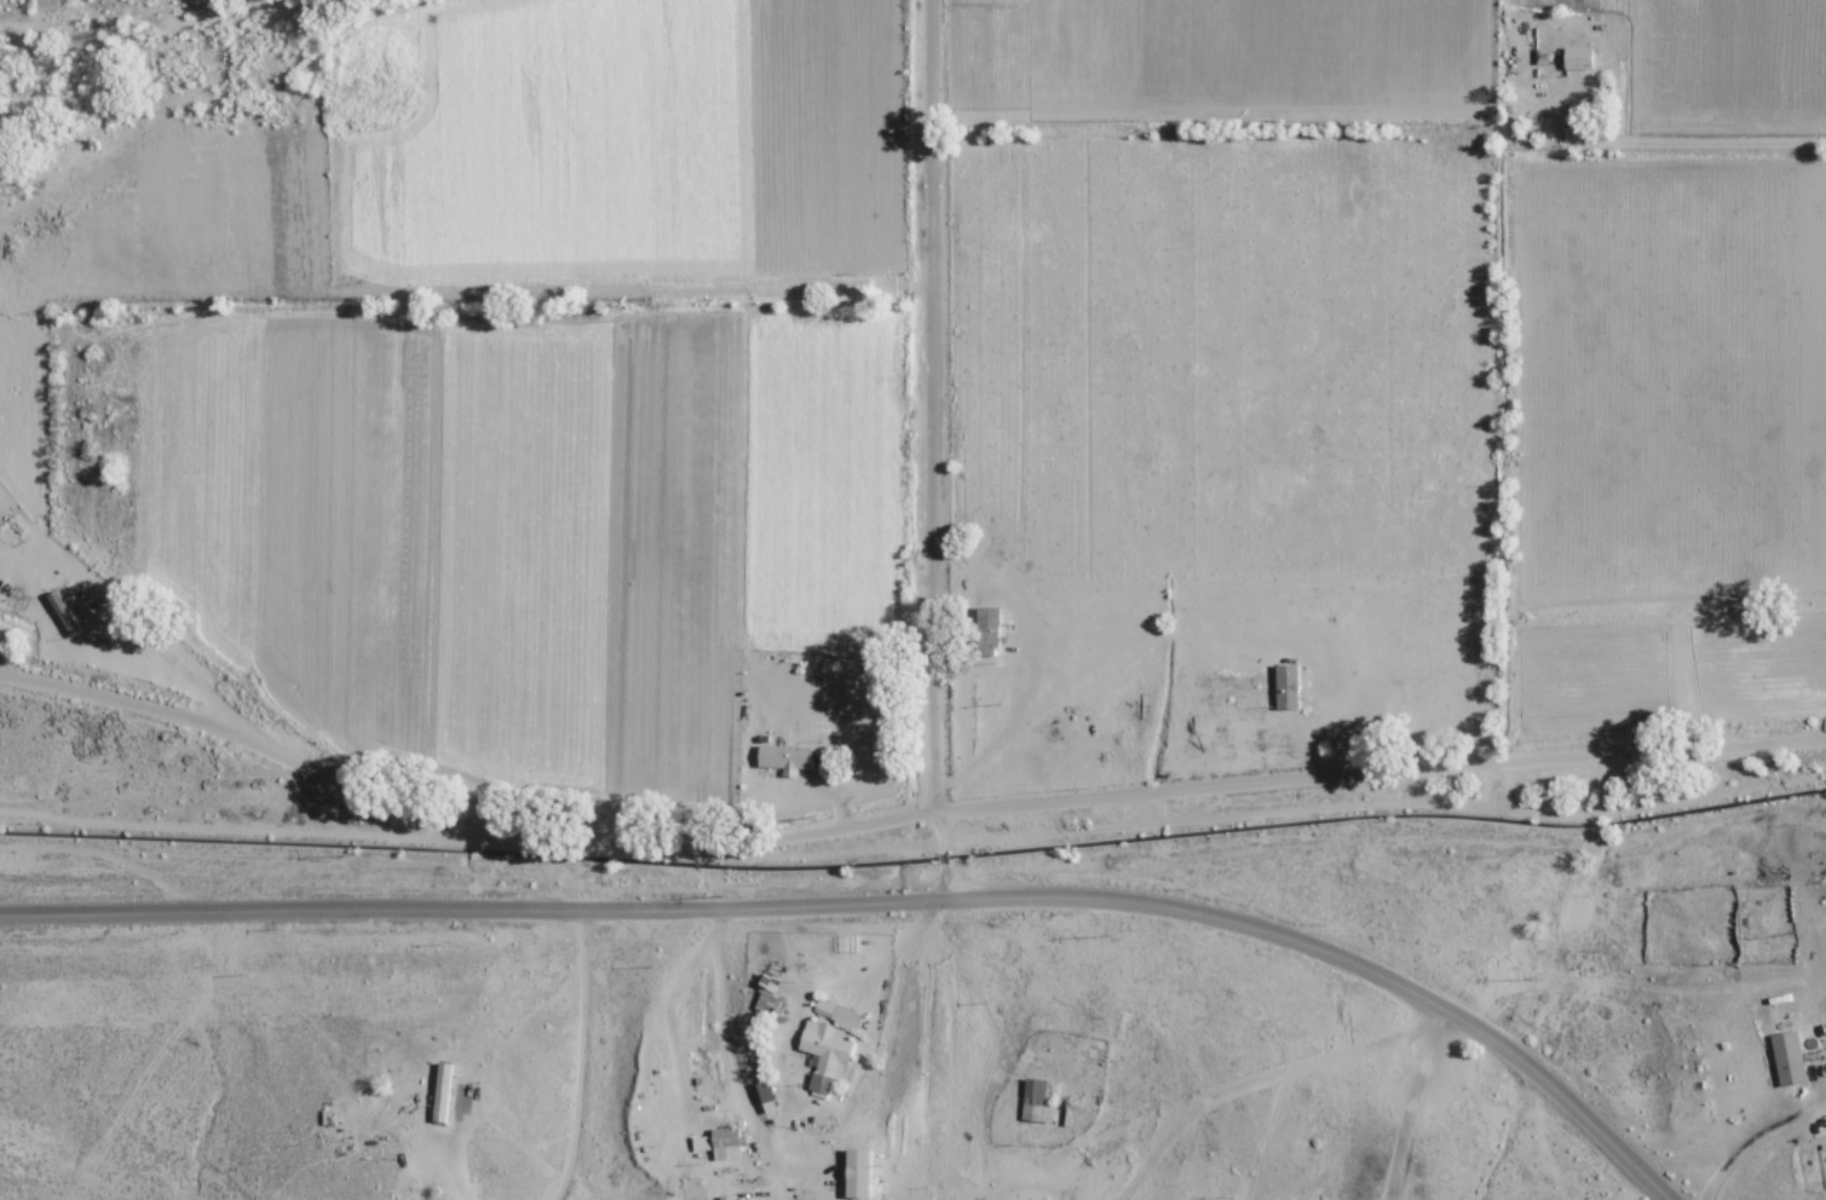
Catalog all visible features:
road: (1557, 17)
building: (1579, 58)
road: (1695, 142)
road: (932, 405)
building: (67, 610)
building: (986, 630)
building: (784, 757)
road: (900, 818)
road: (886, 896)
building: (768, 993)
road: (932, 1005)
building: (847, 1016)
building: (824, 1052)
building: (1788, 1056)
building: (442, 1092)
building: (1038, 1100)
road: (1219, 1100)
building: (726, 1143)
building: (736, 1199)

